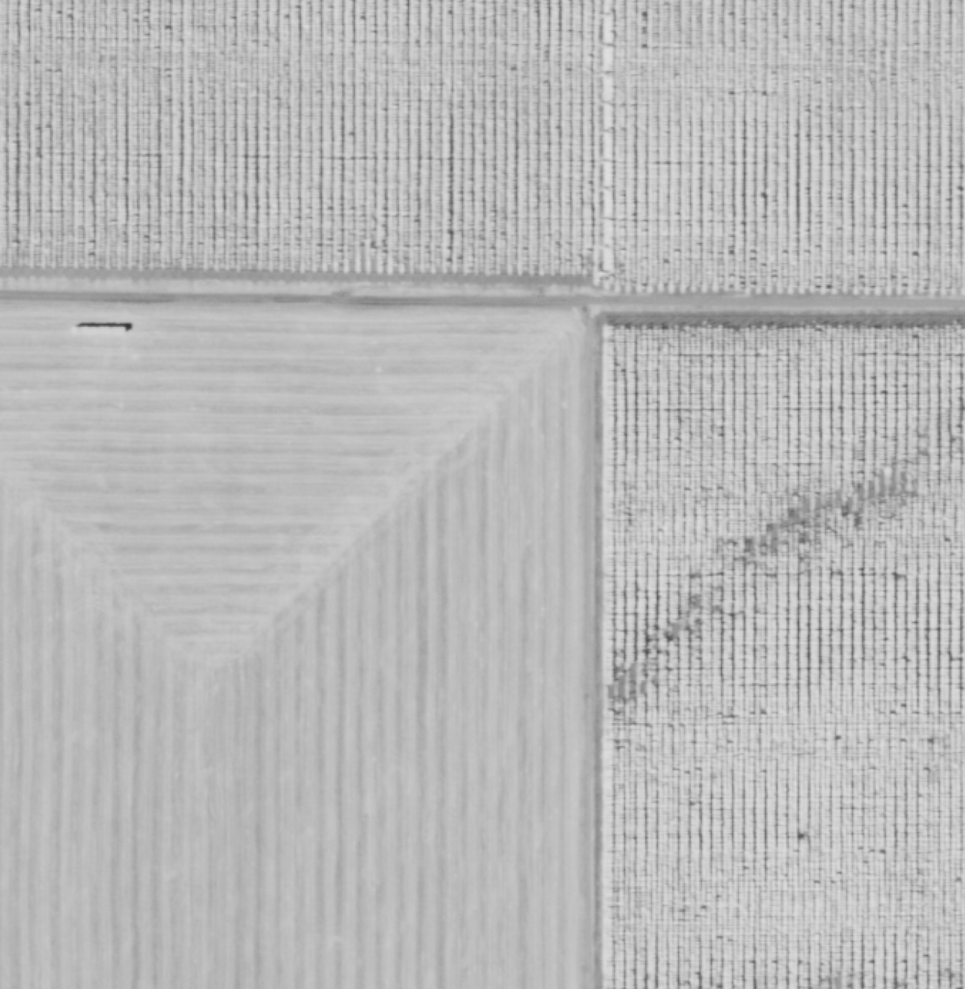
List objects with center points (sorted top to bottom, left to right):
crop: (369, 439)

